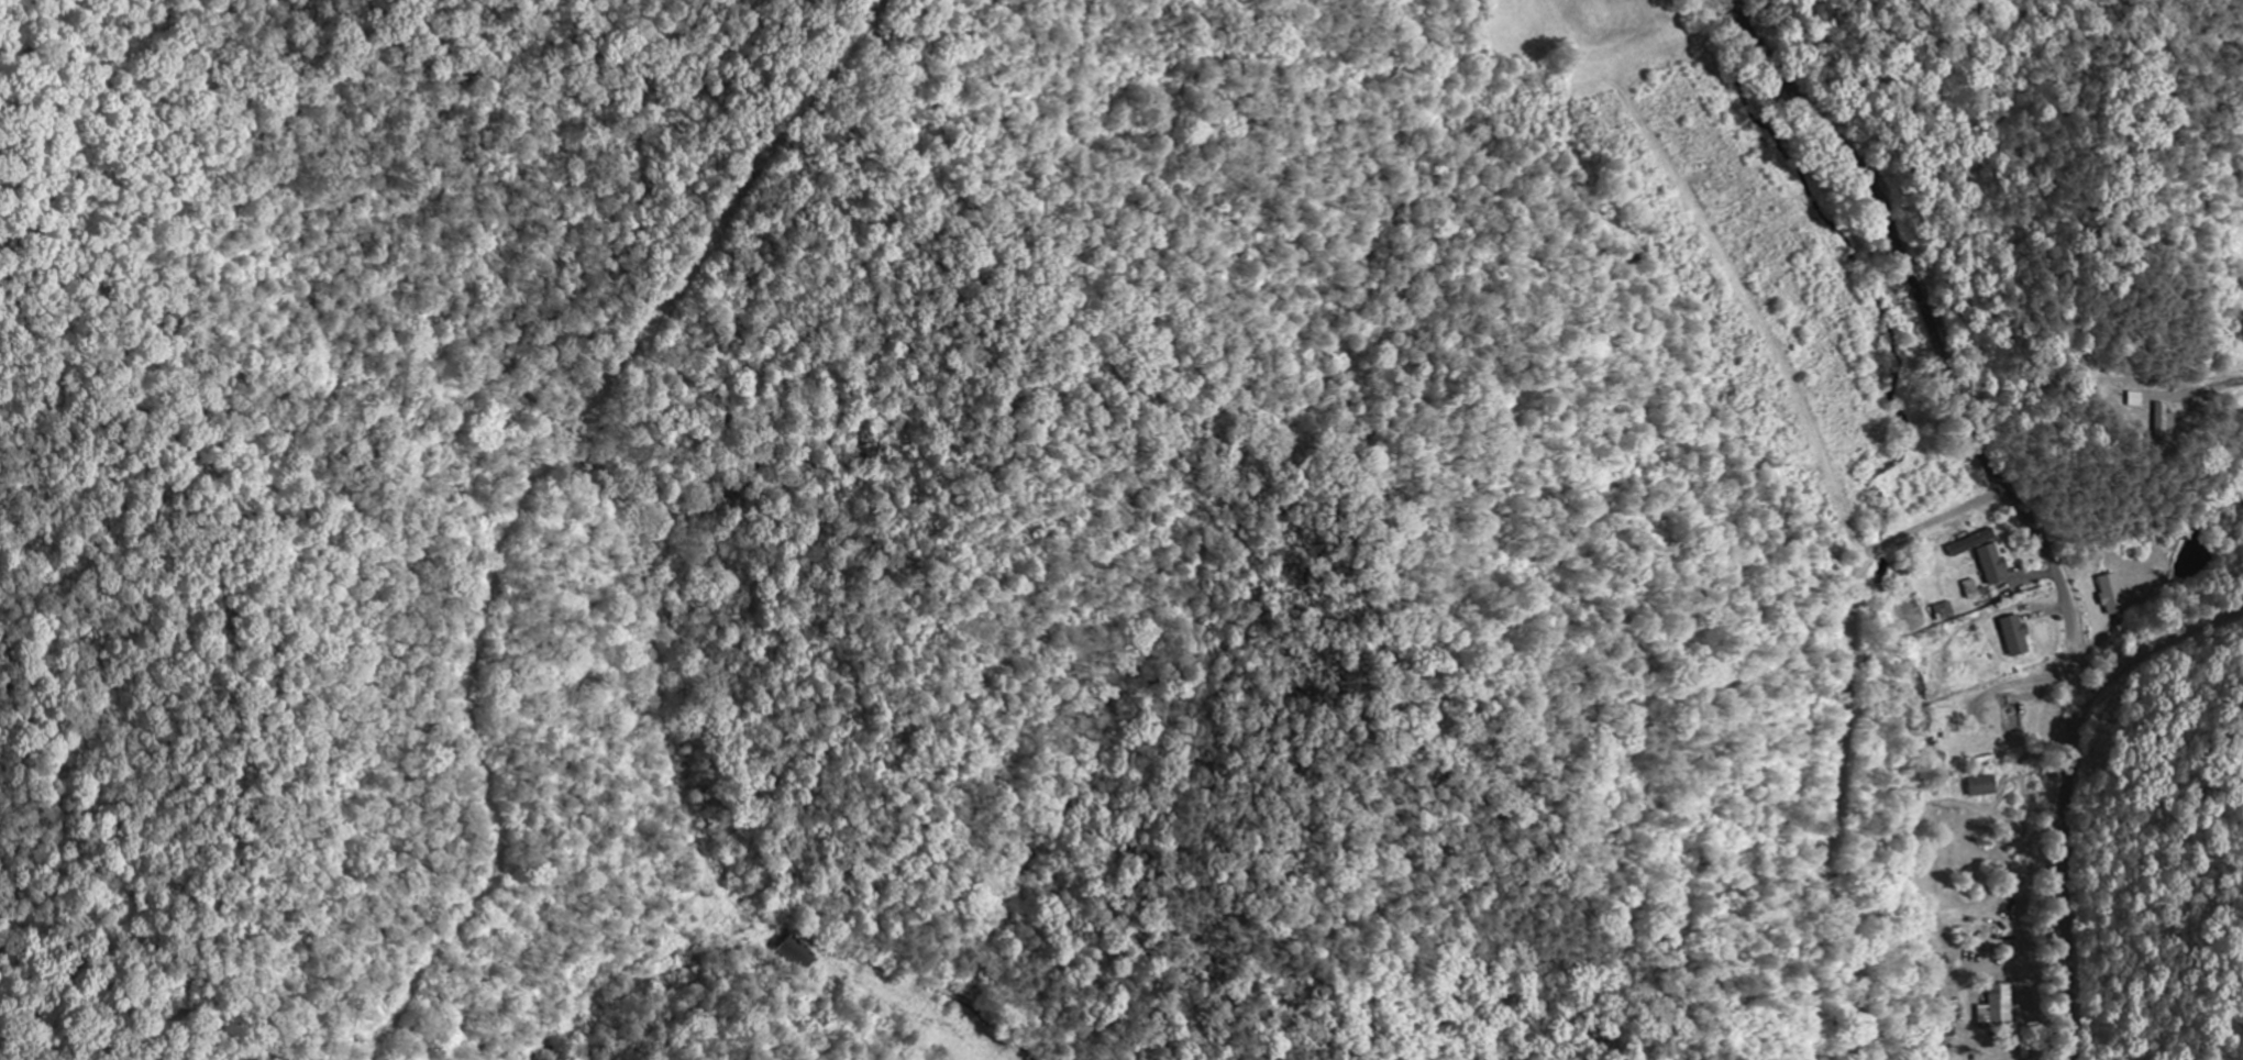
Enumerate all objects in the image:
building: (2163, 421)
road: (2012, 496)
building: (2113, 593)
building: (2018, 633)
building: (1984, 784)
building: (2001, 1005)
road: (900, 1025)

